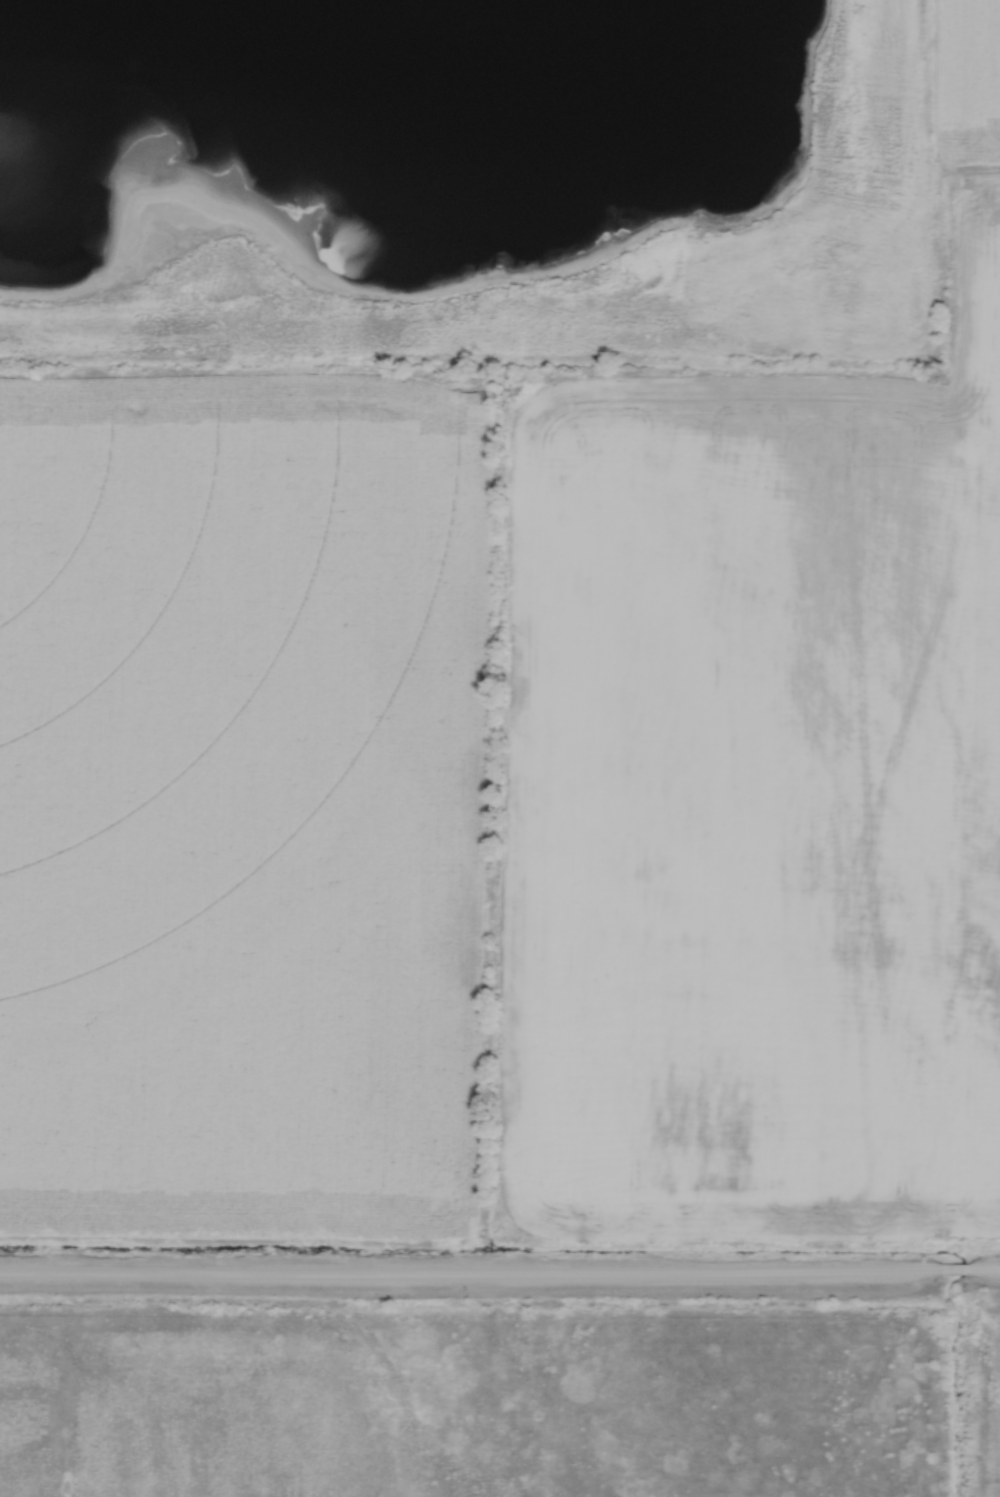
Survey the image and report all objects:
road: (956, 1268)
road: (985, 1268)
road: (471, 1274)

